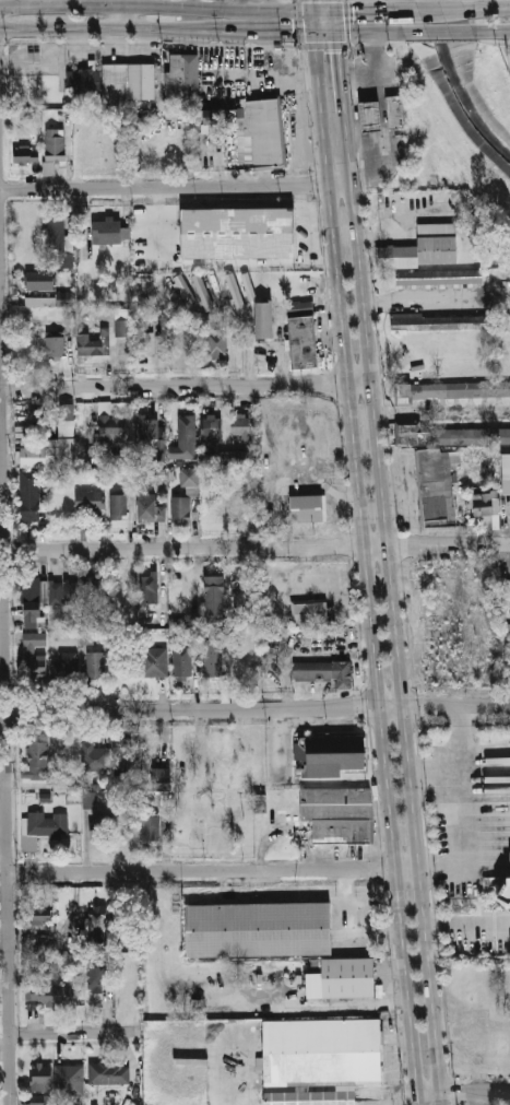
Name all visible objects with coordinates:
road: (310, 5)
road: (334, 5)
road: (155, 8)
road: (487, 8)
road: (437, 10)
road: (323, 11)
traffic signals: (353, 11)
road: (364, 11)
road: (401, 11)
road: (121, 20)
road: (312, 23)
road: (336, 23)
road: (94, 32)
road: (251, 33)
traffic signals: (295, 34)
road: (325, 34)
road: (371, 34)
road: (439, 34)
road: (491, 34)
traffic signals: (339, 51)
road: (358, 67)
road: (305, 73)
road: (340, 73)
building: (180, 78)
building: (85, 81)
building: (129, 83)
river: (453, 83)
road: (295, 104)
building: (396, 111)
road: (382, 115)
building: (215, 116)
building: (371, 117)
building: (262, 132)
road: (365, 142)
building: (56, 144)
road: (312, 155)
building: (27, 156)
building: (48, 168)
road: (175, 188)
building: (239, 231)
building: (56, 232)
building: (109, 232)
building: (431, 247)
building: (67, 260)
building: (438, 277)
building: (40, 280)
building: (214, 280)
building: (247, 283)
building: (183, 286)
building: (235, 289)
building: (203, 290)
building: (66, 298)
road: (418, 299)
building: (38, 301)
building: (264, 320)
building: (506, 321)
building: (440, 322)
building: (121, 328)
building: (55, 343)
building: (94, 343)
building: (145, 343)
building: (305, 343)
building: (217, 345)
road: (185, 388)
building: (462, 388)
building: (66, 418)
building: (110, 424)
building: (150, 425)
building: (211, 425)
building: (240, 425)
building: (474, 432)
building: (186, 438)
building: (159, 451)
building: (48, 452)
building: (234, 457)
building: (507, 473)
building: (190, 478)
building: (439, 485)
building: (31, 496)
building: (91, 503)
building: (119, 506)
building: (149, 506)
building: (310, 506)
building: (488, 508)
building: (181, 510)
road: (256, 545)
road: (365, 569)
building: (92, 589)
building: (147, 589)
building: (59, 591)
building: (70, 592)
building: (216, 595)
building: (33, 602)
road: (391, 609)
building: (312, 610)
building: (85, 623)
building: (446, 624)
building: (276, 637)
building: (36, 655)
building: (153, 661)
building: (183, 661)
building: (68, 663)
building: (95, 663)
building: (246, 663)
building: (215, 665)
building: (333, 669)
road: (5, 696)
road: (258, 708)
road: (3, 741)
building: (337, 752)
building: (38, 753)
building: (123, 755)
building: (95, 757)
building: (162, 777)
road: (435, 777)
building: (339, 799)
road: (460, 799)
building: (90, 800)
building: (104, 824)
building: (44, 827)
building: (151, 827)
building: (344, 830)
road: (406, 869)
road: (201, 871)
building: (506, 894)
building: (43, 915)
building: (97, 918)
building: (260, 928)
road: (467, 931)
building: (45, 943)
building: (47, 965)
building: (96, 973)
building: (349, 974)
road: (382, 975)
building: (56, 994)
road: (395, 1002)
road: (324, 1007)
road: (78, 1035)
building: (324, 1049)
building: (110, 1073)
building: (70, 1080)
building: (41, 1084)
road: (463, 1094)
building: (311, 1095)

